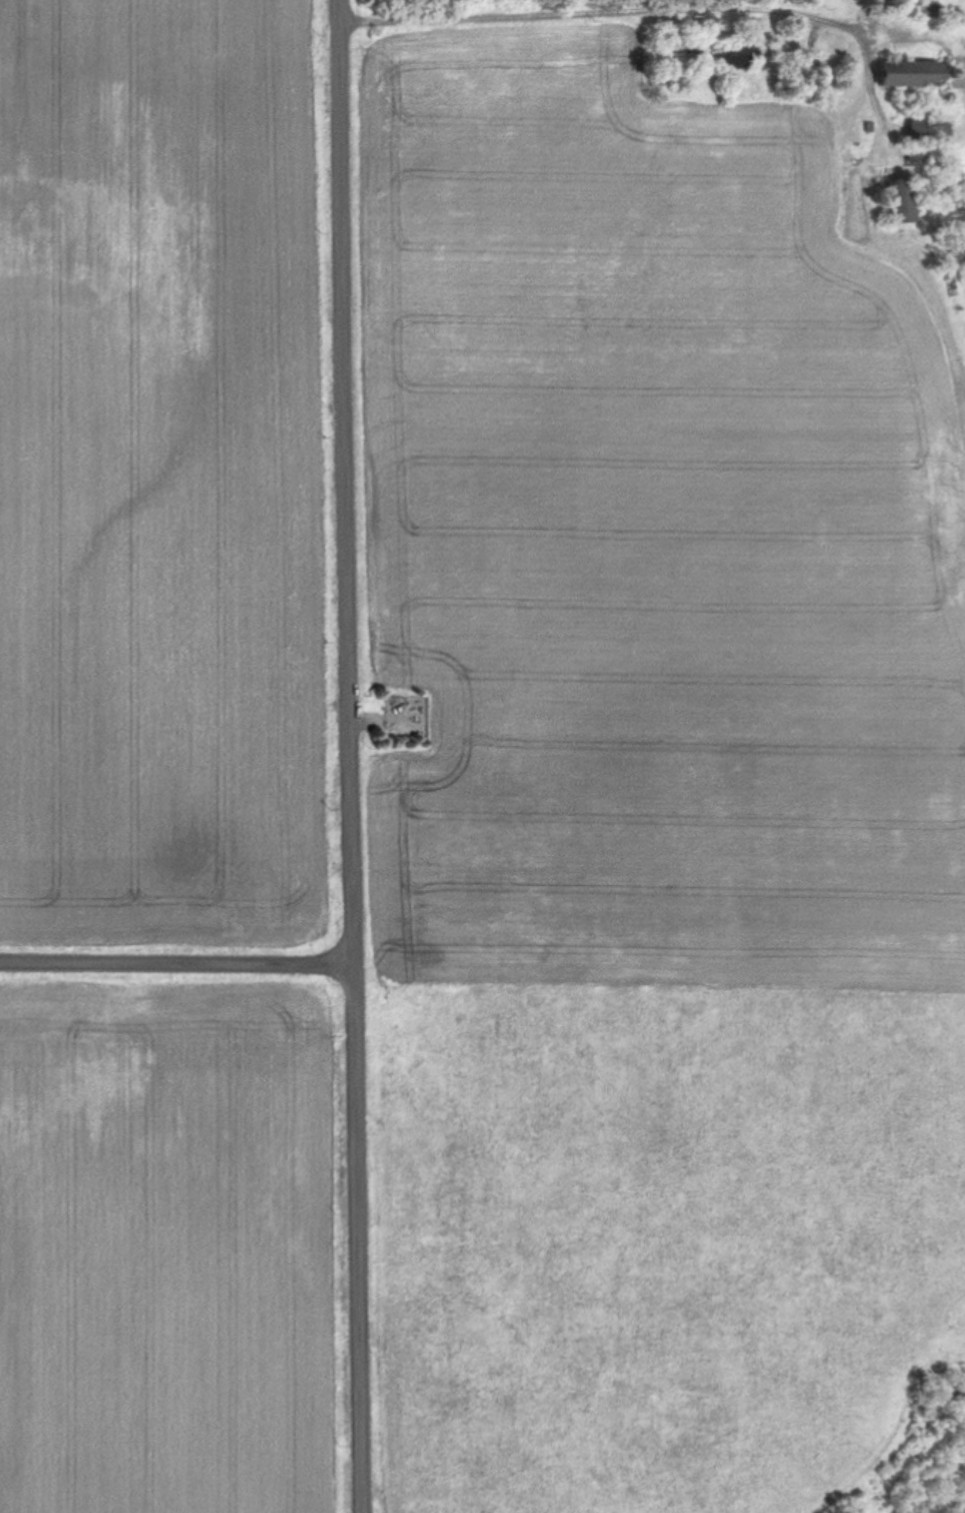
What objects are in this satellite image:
building: (915, 8)
road: (607, 16)
building: (740, 54)
building: (912, 72)
building: (811, 81)
building: (899, 200)
park: (659, 754)
road: (351, 756)
road: (177, 963)

